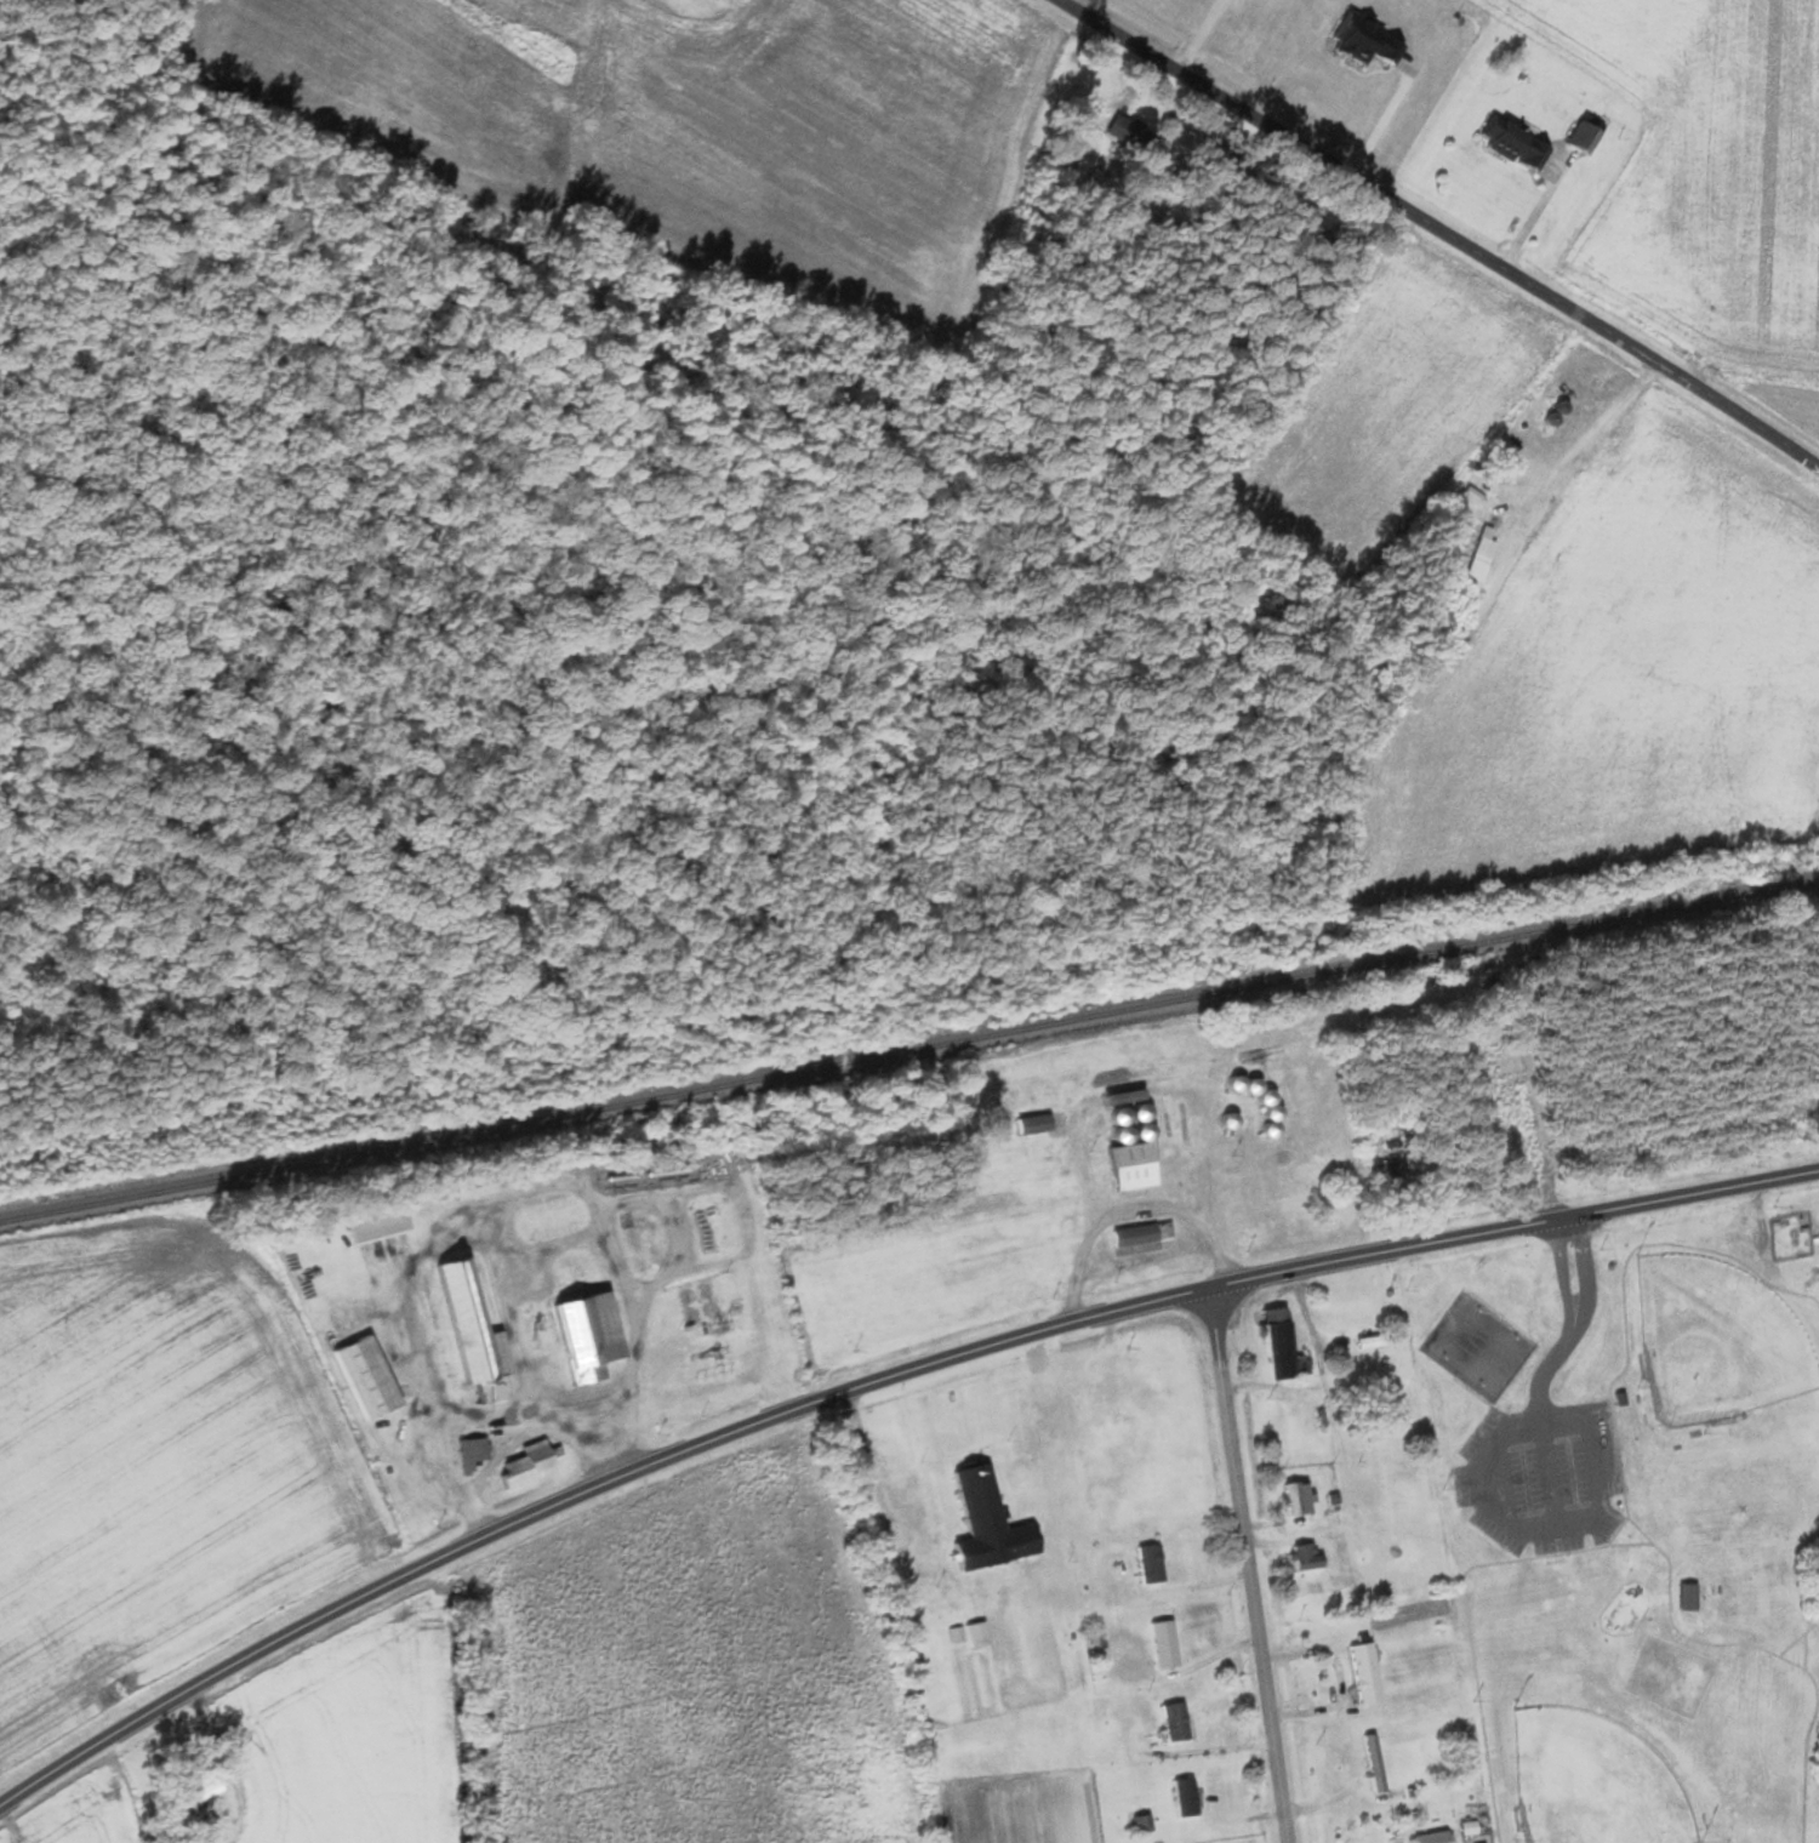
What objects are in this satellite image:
building: (656, 0)
building: (1122, 133)
building: (1573, 139)
building: (1505, 144)
road: (1432, 236)
building: (1471, 561)
railway: (909, 1050)
building: (1031, 1124)
road: (1637, 1128)
building: (1510, 1152)
building: (1119, 1159)
building: (1386, 1171)
building: (1315, 1172)
road: (1635, 1202)
building: (557, 1217)
building: (382, 1225)
building: (719, 1228)
road: (1408, 1243)
building: (650, 1248)
building: (582, 1273)
road: (1302, 1301)
building: (478, 1335)
building: (595, 1336)
building: (1367, 1342)
building: (1272, 1347)
building: (372, 1379)
building: (477, 1451)
road: (656, 1462)
building: (534, 1465)
building: (1381, 1467)
building: (1393, 1496)
building: (1289, 1500)
building: (976, 1524)
building: (1298, 1557)
road: (1248, 1563)
building: (1142, 1565)
building: (963, 1636)
building: (1157, 1645)
building: (1357, 1673)
building: (1167, 1723)
building: (1368, 1764)
building: (215, 1788)
building: (1176, 1799)
building: (1135, 1825)
building: (1422, 1838)

